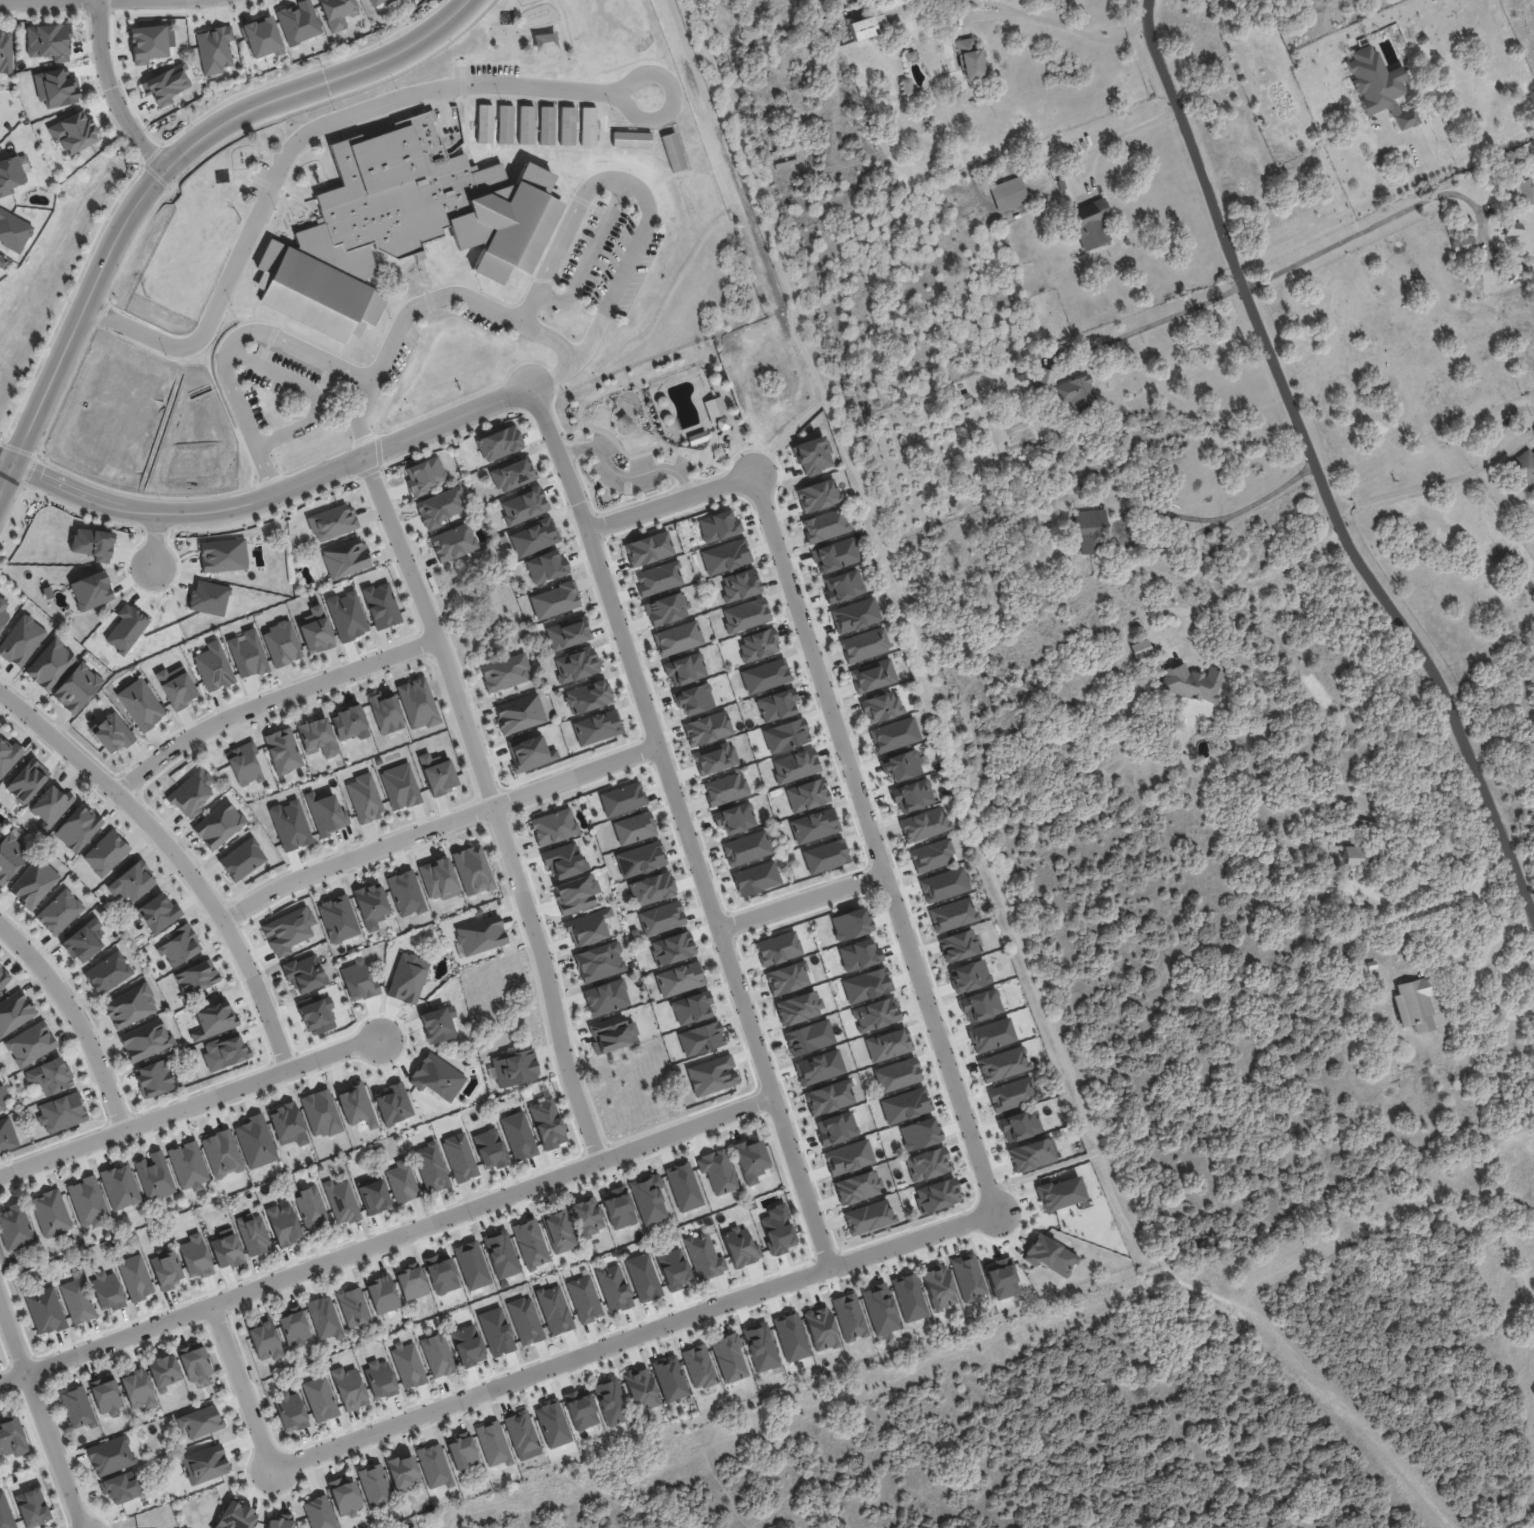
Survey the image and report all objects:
building: (940, 2)
building: (376, 3)
road: (1002, 6)
building: (877, 11)
building: (337, 13)
road: (985, 13)
building: (298, 22)
building: (866, 27)
road: (1083, 33)
building: (261, 36)
building: (48, 41)
building: (147, 43)
building: (214, 49)
building: (7, 53)
building: (908, 56)
building: (970, 59)
building: (166, 85)
building: (1380, 86)
building: (906, 87)
building: (56, 88)
road: (111, 91)
road: (677, 93)
road: (271, 117)
building: (484, 123)
building: (505, 124)
building: (525, 124)
building: (546, 125)
building: (567, 125)
building: (587, 126)
road: (1120, 133)
building: (79, 134)
road: (294, 145)
building: (1072, 148)
building: (782, 151)
road: (168, 162)
building: (785, 164)
building: (13, 177)
building: (1061, 185)
building: (1522, 189)
building: (1008, 194)
road: (1379, 198)
road: (644, 202)
building: (405, 224)
building: (1089, 224)
road: (1375, 224)
building: (1512, 228)
building: (17, 233)
building: (1126, 242)
building: (1463, 243)
road: (587, 254)
building: (1, 263)
building: (1518, 266)
road: (446, 296)
road: (523, 303)
road: (100, 313)
road: (1160, 319)
road: (230, 346)
road: (553, 376)
building: (1041, 380)
road: (313, 389)
building: (1076, 392)
road: (466, 395)
road: (642, 402)
building: (717, 413)
road: (1509, 414)
building: (1123, 417)
road: (557, 419)
building: (874, 421)
road: (795, 422)
park: (652, 424)
road: (1515, 433)
road: (364, 439)
building: (498, 443)
road: (622, 447)
road: (578, 448)
building: (813, 455)
road: (317, 459)
road: (6, 460)
road: (379, 460)
road: (389, 461)
road: (382, 466)
road: (1315, 466)
building: (1524, 468)
building: (512, 474)
road: (78, 475)
building: (423, 475)
road: (624, 475)
road: (6, 477)
road: (1414, 477)
road: (269, 479)
road: (684, 480)
building: (1104, 484)
road: (277, 495)
building: (818, 495)
road: (1248, 505)
building: (522, 506)
building: (438, 507)
road: (607, 509)
road: (595, 513)
building: (332, 522)
building: (717, 525)
road: (598, 526)
building: (825, 526)
building: (1089, 529)
building: (533, 537)
road: (154, 541)
building: (453, 542)
building: (92, 543)
building: (648, 548)
building: (222, 555)
building: (836, 555)
building: (725, 556)
building: (345, 558)
building: (545, 566)
building: (658, 578)
building: (739, 584)
building: (843, 587)
building: (90, 590)
road: (1210, 597)
building: (554, 600)
building: (381, 605)
building: (666, 609)
building: (3, 614)
building: (346, 615)
building: (745, 615)
building: (856, 616)
building: (315, 630)
building: (567, 633)
building: (677, 638)
building: (21, 640)
road: (917, 641)
building: (281, 643)
building: (758, 644)
building: (865, 646)
building: (247, 653)
building: (49, 664)
building: (576, 664)
building: (213, 666)
building: (684, 669)
building: (504, 672)
building: (764, 676)
building: (874, 676)
building: (1192, 682)
building: (76, 687)
building: (176, 687)
building: (587, 696)
road: (267, 699)
building: (693, 699)
building: (417, 703)
building: (140, 704)
building: (776, 705)
building: (881, 705)
building: (385, 712)
building: (519, 713)
building: (349, 723)
building: (597, 727)
building: (707, 728)
building: (111, 733)
building: (895, 733)
building: (785, 735)
building: (316, 737)
road: (647, 749)
building: (282, 751)
building: (530, 753)
building: (8, 755)
road: (849, 755)
building: (714, 758)
road: (649, 762)
building: (901, 763)
building: (244, 765)
building: (795, 765)
road: (163, 770)
building: (437, 774)
road: (865, 775)
building: (26, 780)
building: (400, 786)
road: (501, 788)
building: (725, 788)
building: (191, 794)
building: (912, 794)
building: (807, 795)
building: (364, 798)
building: (622, 798)
road: (479, 799)
road: (493, 803)
building: (50, 805)
building: (1351, 806)
building: (326, 813)
road: (509, 813)
road: (511, 818)
building: (734, 818)
building: (925, 823)
building: (218, 825)
building: (290, 825)
building: (813, 825)
building: (0, 826)
road: (435, 826)
building: (553, 826)
building: (77, 828)
building: (633, 828)
road: (681, 828)
building: (1378, 840)
building: (746, 848)
building: (105, 853)
building: (11, 854)
building: (933, 854)
road: (176, 856)
building: (825, 856)
building: (242, 859)
building: (640, 859)
building: (563, 860)
road: (865, 863)
road: (868, 864)
building: (472, 869)
road: (874, 876)
building: (438, 878)
building: (756, 878)
building: (1328, 879)
building: (131, 882)
building: (33, 883)
building: (945, 883)
building: (651, 888)
road: (1437, 889)
road: (877, 890)
building: (405, 893)
building: (575, 893)
road: (801, 902)
building: (370, 905)
building: (59, 911)
road: (726, 911)
building: (158, 913)
building: (953, 914)
building: (337, 918)
building: (661, 918)
road: (729, 924)
building: (850, 924)
building: (587, 927)
building: (287, 930)
building: (480, 935)
building: (83, 941)
building: (960, 944)
building: (179, 946)
building: (672, 948)
building: (777, 948)
building: (858, 954)
building: (599, 961)
building: (1372, 965)
building: (107, 972)
building: (304, 973)
road: (1476, 973)
building: (970, 976)
building: (3, 977)
building: (196, 977)
building: (407, 978)
building: (679, 978)
building: (786, 978)
building: (358, 981)
building: (866, 985)
building: (605, 997)
building: (980, 1005)
building: (1413, 1005)
building: (130, 1006)
building: (691, 1007)
building: (797, 1007)
building: (14, 1011)
building: (875, 1014)
building: (317, 1015)
road: (75, 1018)
building: (213, 1020)
building: (438, 1024)
building: (992, 1033)
building: (611, 1034)
building: (808, 1037)
building: (700, 1038)
building: (145, 1040)
building: (30, 1043)
building: (887, 1044)
building: (224, 1051)
building: (1005, 1061)
building: (514, 1067)
building: (818, 1067)
building: (896, 1074)
building: (711, 1075)
building: (49, 1076)
building: (436, 1077)
building: (154, 1078)
building: (1012, 1093)
building: (828, 1097)
road: (763, 1100)
building: (1, 1103)
building: (393, 1104)
road: (191, 1105)
building: (355, 1105)
building: (904, 1105)
building: (61, 1112)
building: (320, 1113)
road: (765, 1114)
building: (546, 1123)
building: (287, 1124)
building: (1019, 1124)
building: (835, 1128)
building: (919, 1133)
building: (7, 1134)
building: (518, 1135)
building: (255, 1141)
building: (489, 1149)
building: (221, 1153)
building: (1032, 1154)
building: (459, 1157)
building: (847, 1157)
building: (750, 1160)
building: (927, 1164)
building: (187, 1165)
building: (430, 1167)
road: (1053, 1168)
building: (717, 1171)
building: (154, 1176)
building: (401, 1181)
building: (120, 1186)
building: (683, 1186)
building: (857, 1187)
building: (1060, 1191)
building: (372, 1194)
building: (936, 1195)
building: (648, 1198)
road: (974, 1199)
building: (87, 1201)
building: (341, 1201)
road: (1494, 1206)
building: (618, 1207)
building: (310, 1208)
building: (50, 1212)
building: (587, 1216)
building: (868, 1217)
building: (283, 1225)
building: (17, 1226)
building: (558, 1231)
building: (776, 1233)
building: (253, 1234)
road: (384, 1238)
building: (530, 1243)
building: (740, 1247)
building: (225, 1248)
road: (810, 1250)
road: (837, 1251)
building: (500, 1253)
building: (703, 1255)
building: (1048, 1255)
building: (195, 1256)
road: (826, 1257)
road: (813, 1259)
building: (471, 1265)
building: (673, 1268)
building: (165, 1270)
building: (440, 1273)
building: (968, 1276)
building: (135, 1277)
building: (643, 1277)
building: (1002, 1278)
building: (410, 1281)
building: (613, 1287)
building: (938, 1287)
building: (107, 1290)
building: (381, 1294)
building: (909, 1297)
building: (584, 1299)
building: (352, 1306)
building: (554, 1309)
building: (879, 1309)
building: (44, 1310)
road: (215, 1315)
building: (849, 1317)
building: (324, 1318)
building: (525, 1320)
building: (293, 1327)
building: (820, 1328)
building: (496, 1331)
building: (790, 1336)
building: (263, 1339)
building: (467, 1345)
road: (984, 1345)
building: (759, 1346)
building: (437, 1355)
building: (728, 1357)
building: (193, 1363)
building: (407, 1365)
building: (698, 1366)
building: (163, 1371)
road: (550, 1372)
road: (567, 1373)
building: (669, 1378)
building: (379, 1379)
building: (136, 1387)
building: (348, 1388)
building: (640, 1389)
building: (105, 1394)
building: (319, 1398)
building: (610, 1401)
park: (1138, 1404)
road: (1163, 1404)
building: (81, 1407)
building: (580, 1409)
building: (289, 1411)
road: (41, 1416)
building: (199, 1422)
building: (552, 1423)
building: (521, 1431)
building: (13, 1438)
building: (493, 1443)
building: (461, 1451)
building: (109, 1455)
building: (204, 1464)
building: (433, 1465)
building: (402, 1471)
building: (120, 1487)
building: (374, 1487)
road: (728, 1489)
building: (344, 1496)
building: (32, 1506)
building: (5, 1513)
building: (318, 1513)
building: (235, 1516)
road: (1140, 1519)
building: (280, 1521)
road: (599, 1527)

